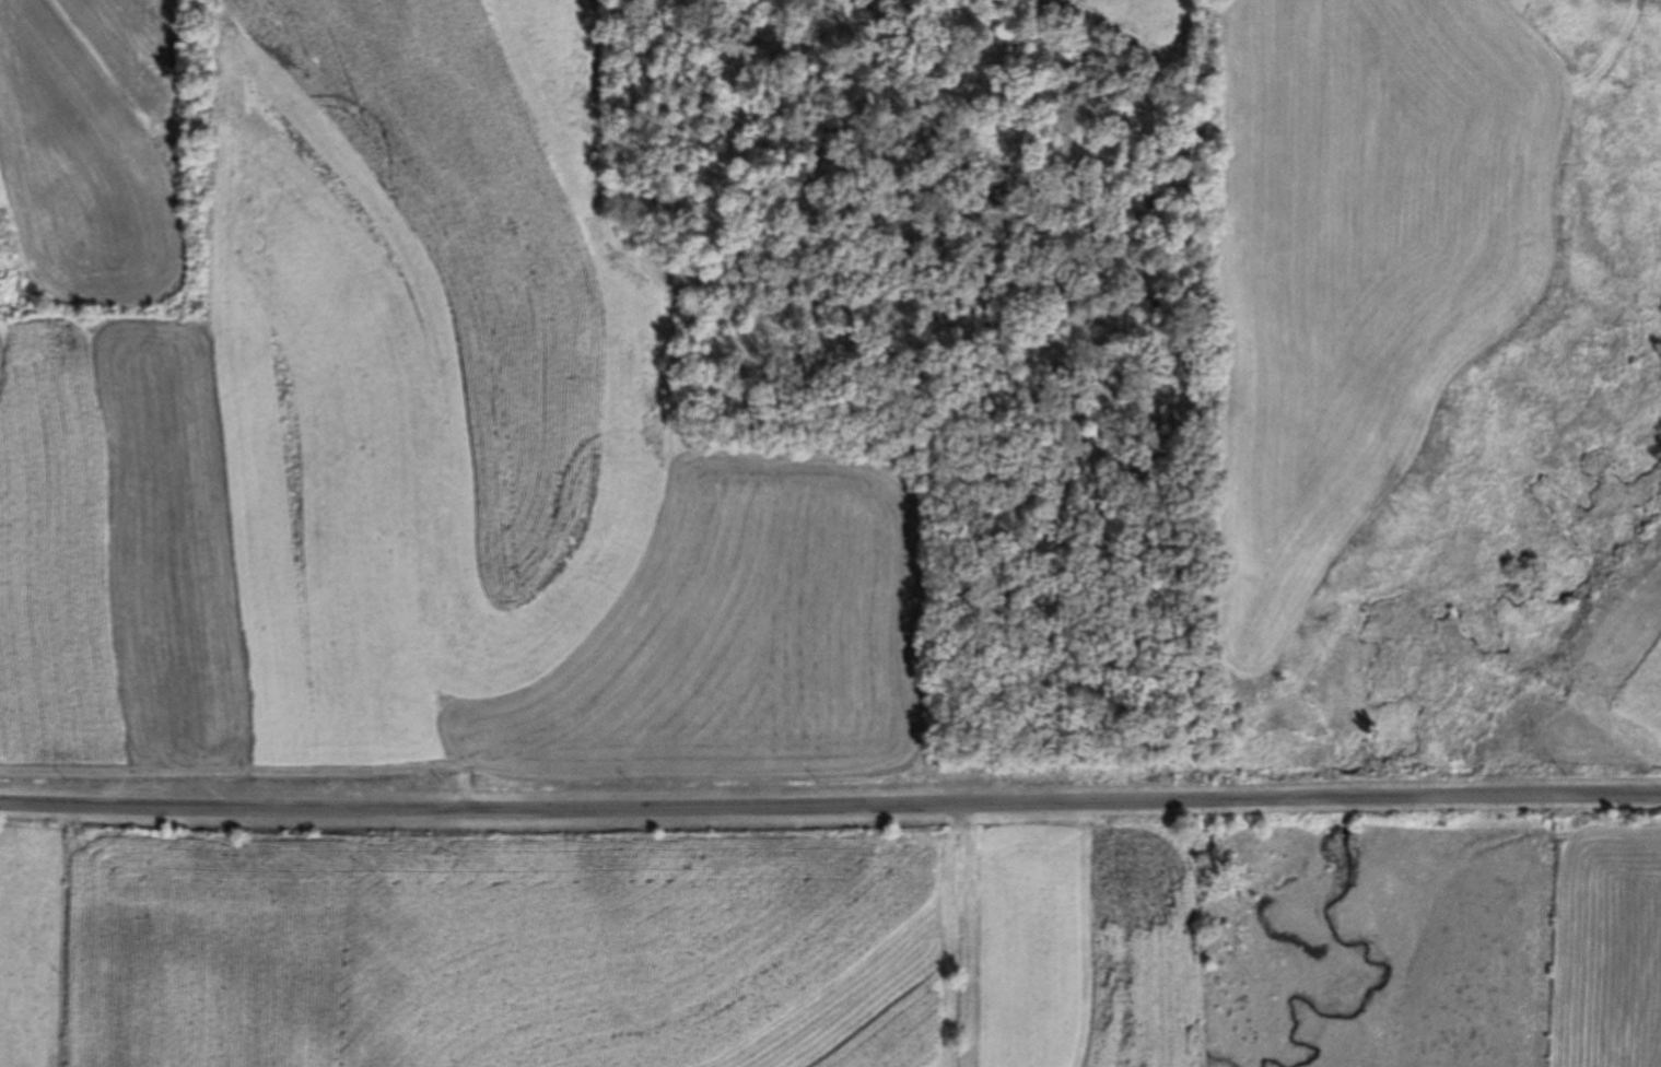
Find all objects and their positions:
road: (830, 804)

